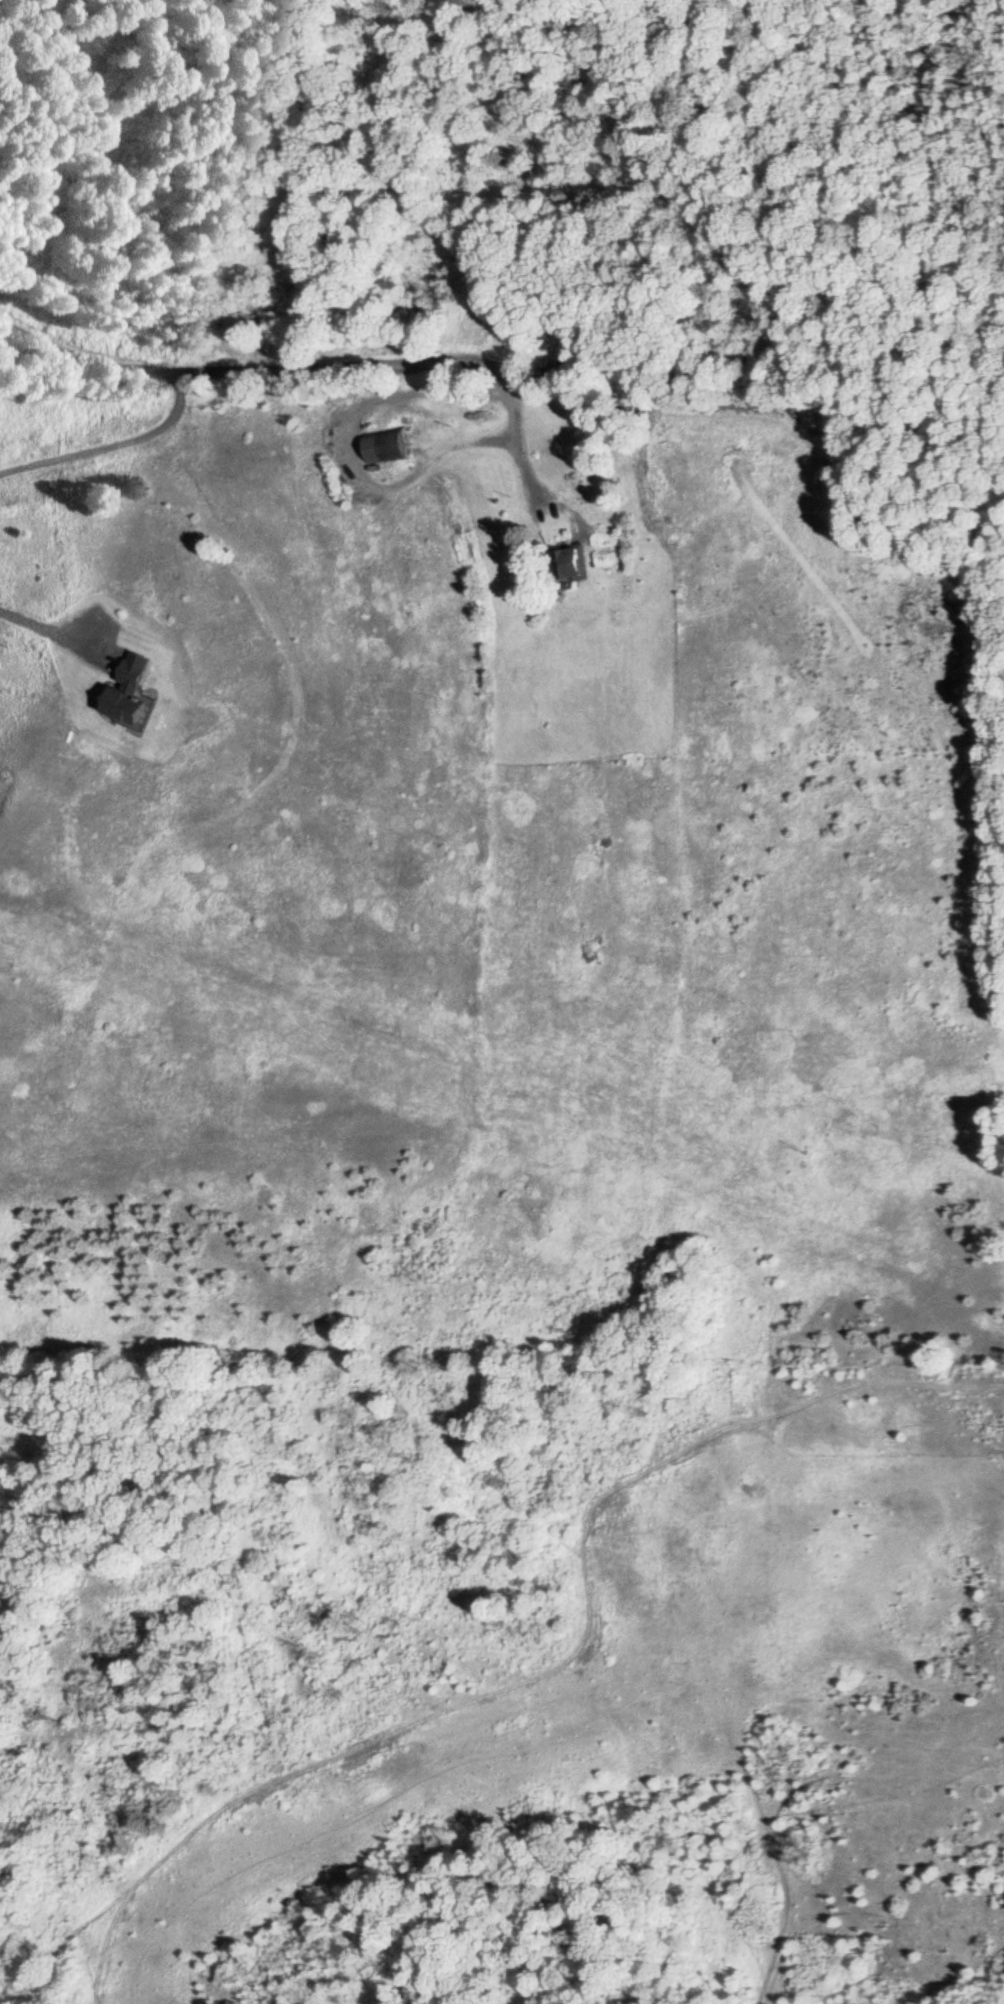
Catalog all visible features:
road: (384, 384)
building: (383, 449)
building: (569, 564)

